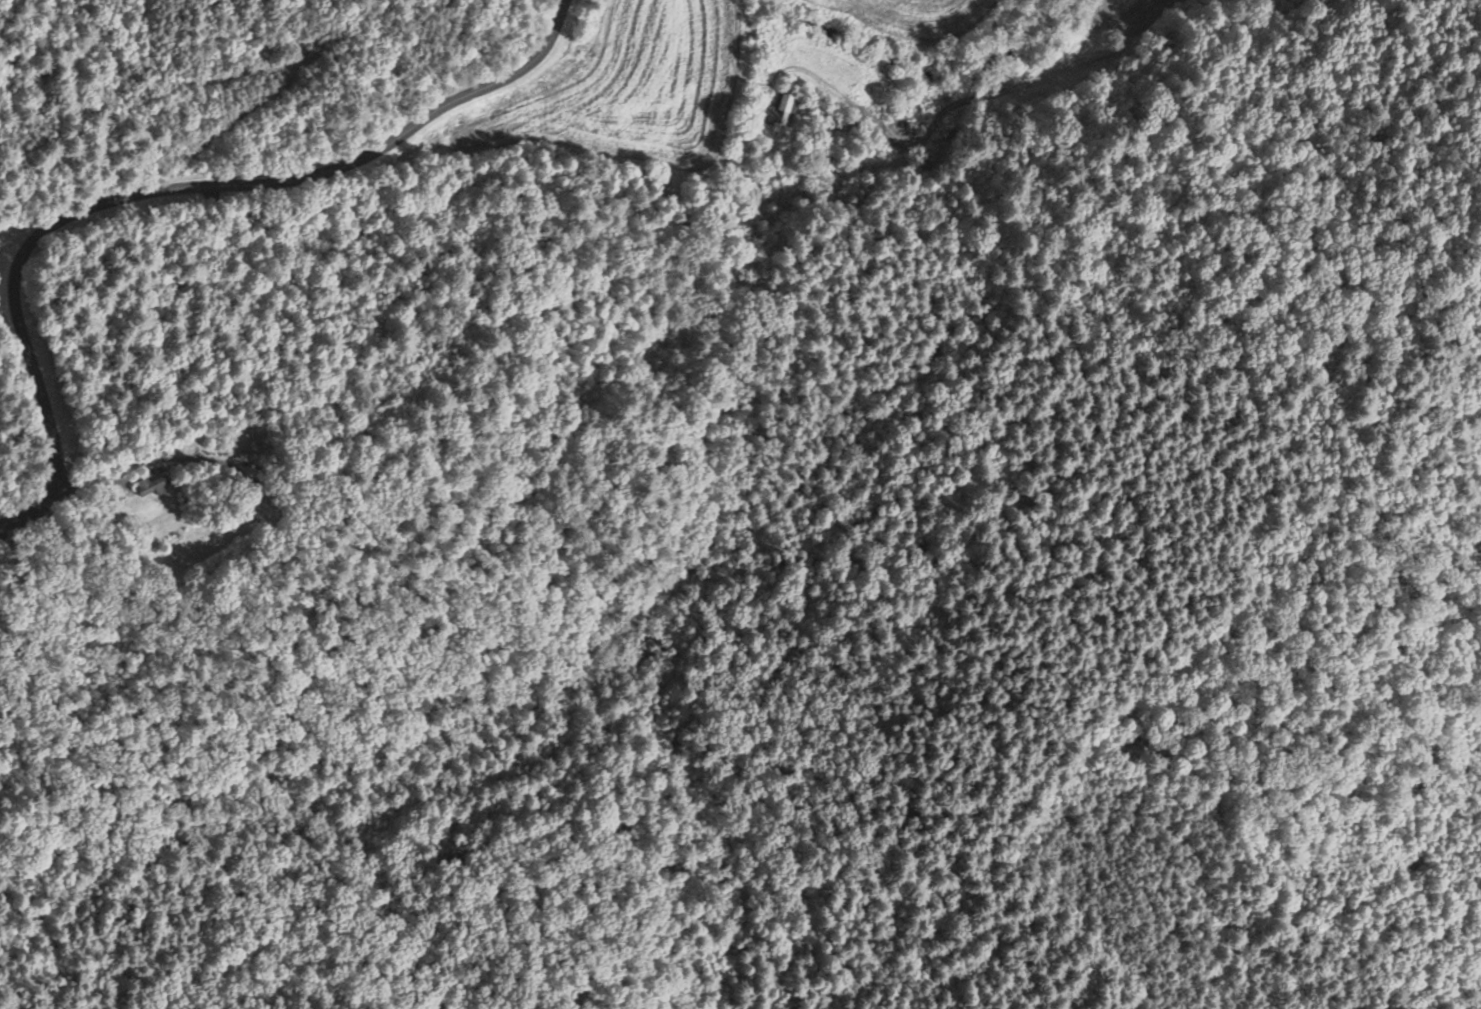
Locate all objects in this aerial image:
building: (783, 102)
road: (166, 187)
building: (264, 508)
road: (317, 543)

